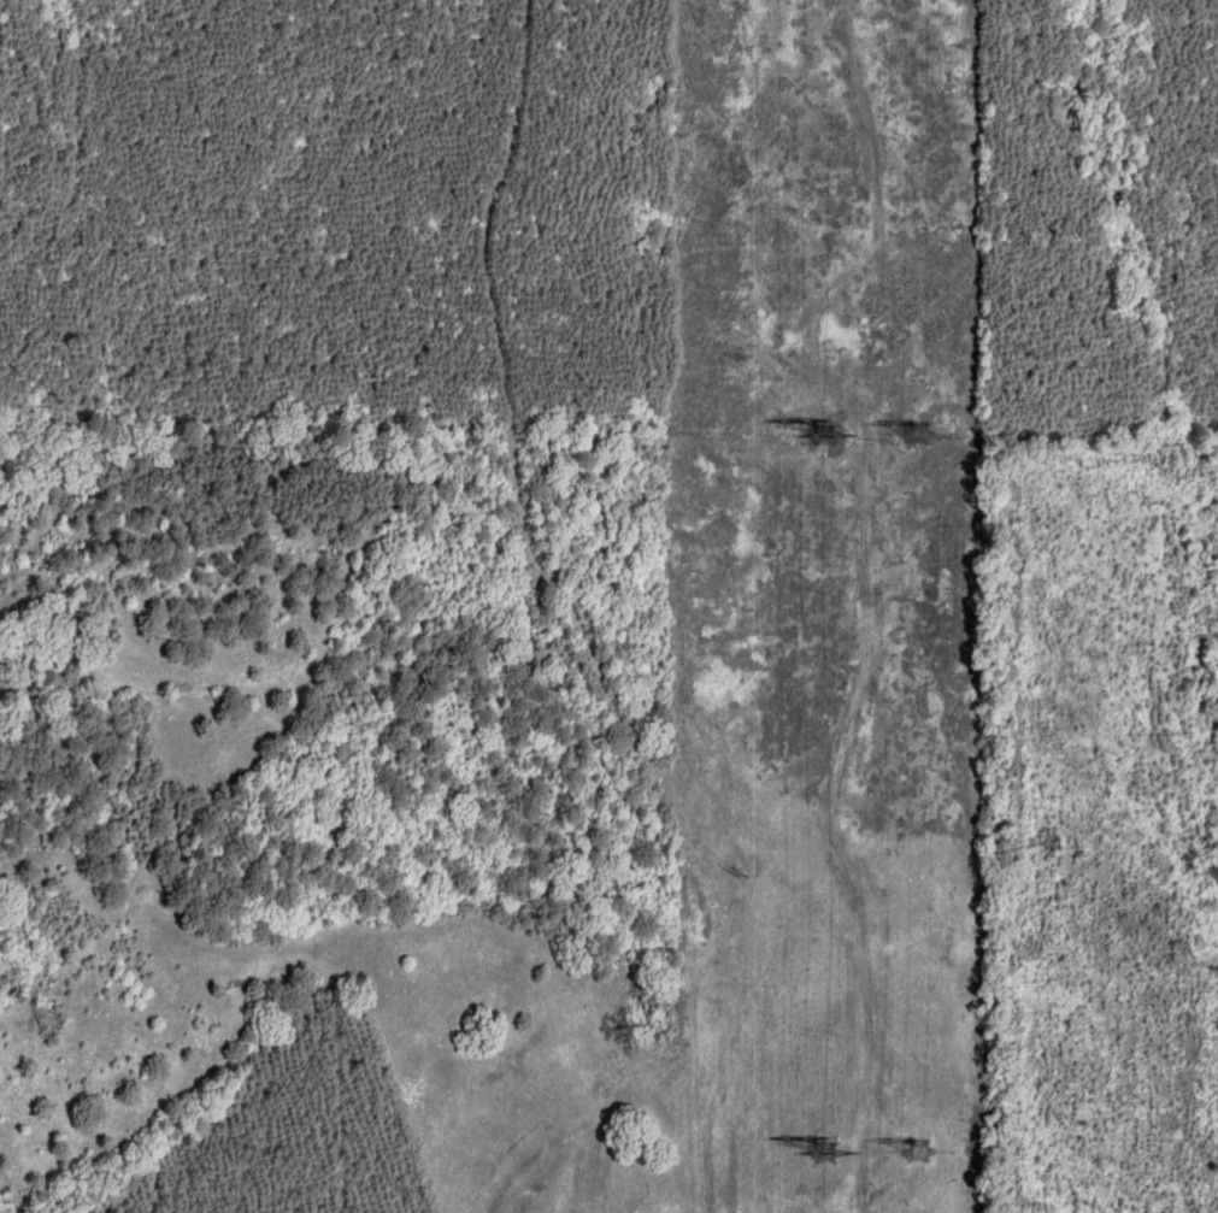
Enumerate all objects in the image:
power tower: (820, 420)
power tower: (911, 424)
power tower: (913, 1140)
power tower: (822, 1144)

